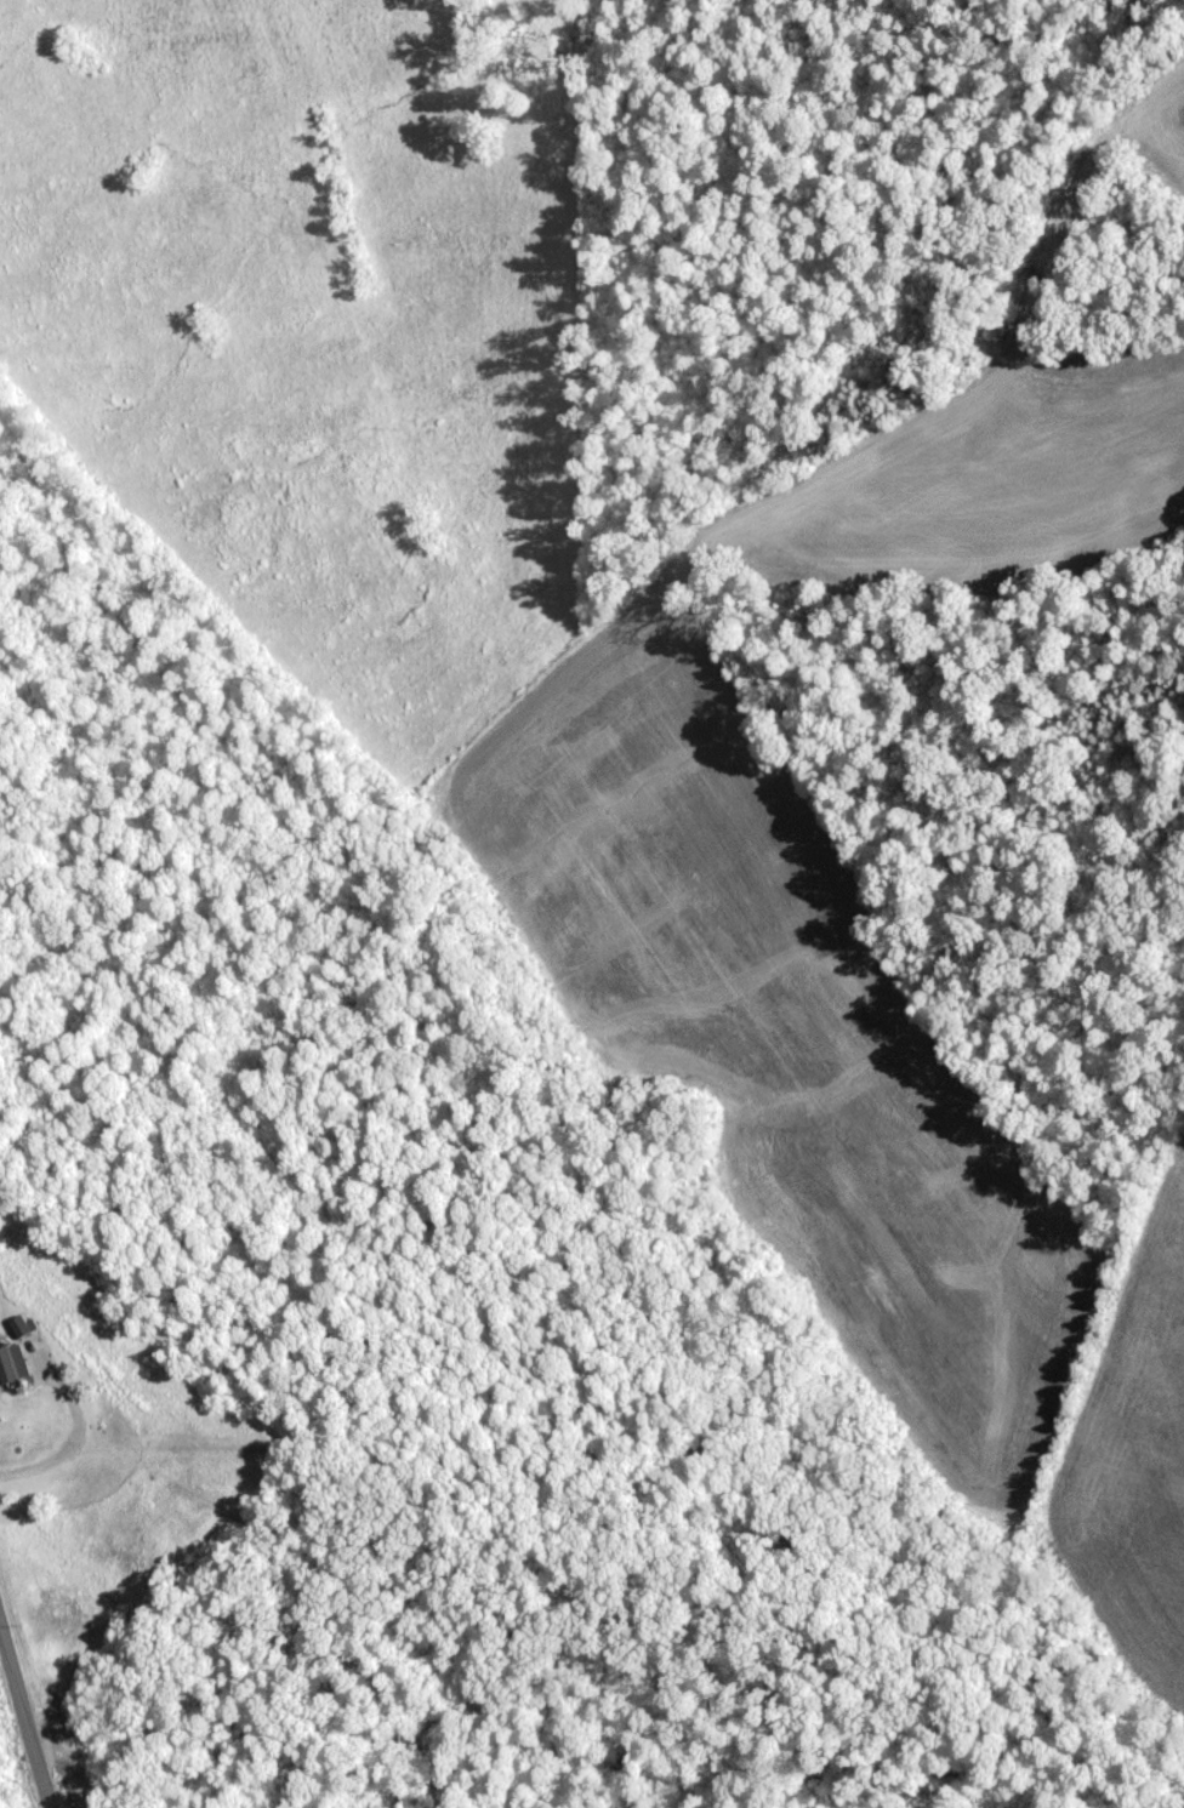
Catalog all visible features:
building: (25, 1324)
building: (15, 1362)
road: (25, 1710)

